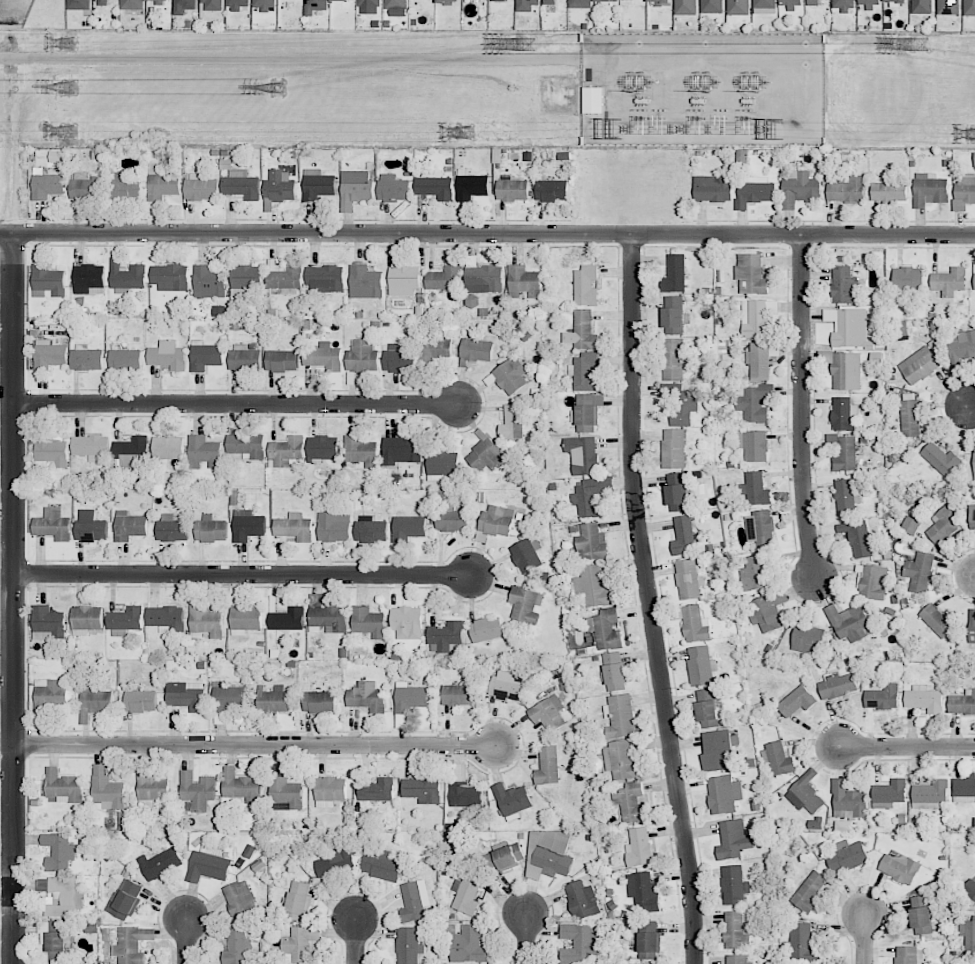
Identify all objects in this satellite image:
building: (159, 0)
building: (607, 0)
building: (894, 0)
building: (449, 1)
building: (549, 1)
building: (659, 1)
building: (103, 2)
building: (791, 2)
building: (813, 2)
building: (871, 3)
building: (79, 4)
building: (132, 4)
building: (237, 4)
building: (265, 4)
building: (317, 4)
building: (580, 4)
building: (844, 4)
building: (212, 5)
building: (526, 5)
building: (183, 6)
building: (369, 6)
building: (712, 6)
building: (764, 6)
building: (922, 6)
building: (396, 7)
building: (685, 7)
building: (738, 7)
building: (949, 7)
building: (969, 8)
power tower: (69, 43)
power tower: (525, 43)
power tower: (920, 44)
road: (291, 58)
power tower: (70, 87)
power tower: (279, 89)
power substation: (703, 89)
building: (594, 100)
power tower: (69, 132)
power tower: (465, 133)
building: (974, 159)
building: (161, 183)
building: (317, 184)
building: (241, 185)
building: (471, 185)
building: (47, 186)
building: (126, 186)
building: (435, 187)
building: (84, 188)
building: (200, 188)
building: (279, 188)
building: (355, 188)
building: (393, 188)
building: (512, 188)
building: (713, 188)
building: (799, 188)
building: (929, 189)
building: (552, 190)
building: (846, 190)
building: (754, 191)
building: (964, 191)
building: (888, 192)
road: (487, 233)
building: (47, 274)
building: (675, 274)
building: (751, 274)
building: (127, 275)
building: (284, 275)
building: (974, 275)
building: (170, 277)
building: (482, 277)
building: (246, 278)
building: (326, 278)
building: (444, 278)
building: (89, 279)
building: (404, 280)
building: (907, 280)
building: (949, 281)
building: (209, 282)
building: (365, 282)
building: (524, 282)
building: (586, 285)
building: (844, 285)
building: (674, 315)
building: (757, 317)
building: (848, 327)
building: (582, 331)
building: (961, 347)
building: (434, 349)
building: (476, 349)
building: (50, 355)
building: (167, 355)
building: (205, 355)
building: (362, 355)
building: (324, 357)
building: (86, 358)
building: (244, 358)
building: (399, 359)
building: (673, 359)
building: (125, 360)
building: (282, 360)
building: (759, 361)
building: (919, 365)
building: (846, 371)
building: (586, 372)
building: (511, 375)
building: (681, 403)
building: (754, 403)
road: (240, 404)
road: (802, 406)
road: (972, 406)
building: (587, 412)
building: (844, 414)
building: (910, 418)
building: (512, 422)
building: (245, 445)
building: (754, 445)
building: (91, 447)
building: (323, 447)
building: (167, 448)
building: (673, 448)
building: (401, 450)
building: (132, 451)
building: (286, 451)
building: (362, 451)
building: (51, 452)
building: (204, 452)
building: (583, 454)
building: (486, 455)
building: (845, 455)
building: (940, 458)
building: (441, 463)
building: (974, 465)
building: (756, 489)
building: (677, 492)
building: (846, 497)
building: (589, 498)
building: (971, 516)
building: (451, 520)
building: (497, 520)
building: (53, 524)
building: (248, 525)
building: (90, 526)
building: (129, 526)
building: (334, 526)
building: (943, 526)
building: (294, 527)
building: (172, 528)
building: (408, 528)
building: (760, 528)
building: (211, 529)
building: (370, 529)
building: (683, 536)
building: (858, 538)
building: (591, 542)
building: (526, 554)
building: (919, 571)
building: (753, 573)
road: (242, 576)
road: (974, 578)
building: (688, 579)
building: (873, 582)
building: (593, 586)
road: (14, 597)
road: (651, 599)
building: (526, 604)
building: (767, 610)
building: (327, 616)
building: (87, 618)
building: (166, 618)
building: (245, 619)
building: (288, 619)
building: (48, 620)
building: (367, 620)
building: (938, 620)
building: (125, 621)
building: (205, 622)
building: (407, 622)
building: (849, 622)
building: (695, 624)
building: (971, 626)
building: (486, 629)
building: (607, 629)
building: (445, 636)
building: (808, 638)
building: (701, 665)
building: (615, 672)
building: (506, 685)
building: (837, 685)
building: (49, 694)
building: (186, 695)
building: (458, 695)
building: (227, 697)
building: (367, 697)
building: (410, 697)
building: (882, 698)
building: (273, 699)
building: (924, 699)
building: (95, 701)
building: (140, 701)
building: (797, 701)
building: (319, 702)
building: (962, 703)
building: (707, 708)
building: (548, 713)
building: (620, 716)
road: (252, 746)
road: (907, 746)
building: (718, 750)
building: (778, 758)
building: (621, 760)
building: (548, 766)
building: (150, 785)
building: (63, 786)
building: (241, 786)
building: (422, 789)
building: (964, 789)
building: (106, 790)
building: (197, 790)
building: (377, 790)
building: (329, 791)
building: (890, 791)
building: (931, 792)
building: (806, 793)
building: (724, 794)
building: (466, 796)
building: (848, 799)
building: (512, 801)
building: (631, 802)
building: (733, 839)
building: (639, 847)
building: (59, 852)
building: (847, 855)
building: (501, 859)
building: (335, 861)
building: (553, 862)
building: (160, 863)
building: (208, 864)
building: (381, 864)
building: (900, 867)
building: (733, 884)
building: (970, 888)
building: (809, 892)
building: (466, 893)
building: (645, 893)
building: (61, 895)
building: (126, 899)
building: (240, 899)
building: (581, 899)
building: (298, 901)
building: (413, 902)
building: (920, 914)
building: (87, 924)
building: (736, 930)
building: (968, 936)
road: (864, 938)
road: (524, 940)
road: (185, 942)
road: (356, 942)
building: (579, 943)
building: (132, 944)
building: (469, 944)
building: (800, 944)
building: (301, 945)
building: (408, 945)
building: (649, 945)
building: (59, 946)
building: (237, 946)
building: (908, 955)
building: (736, 959)

